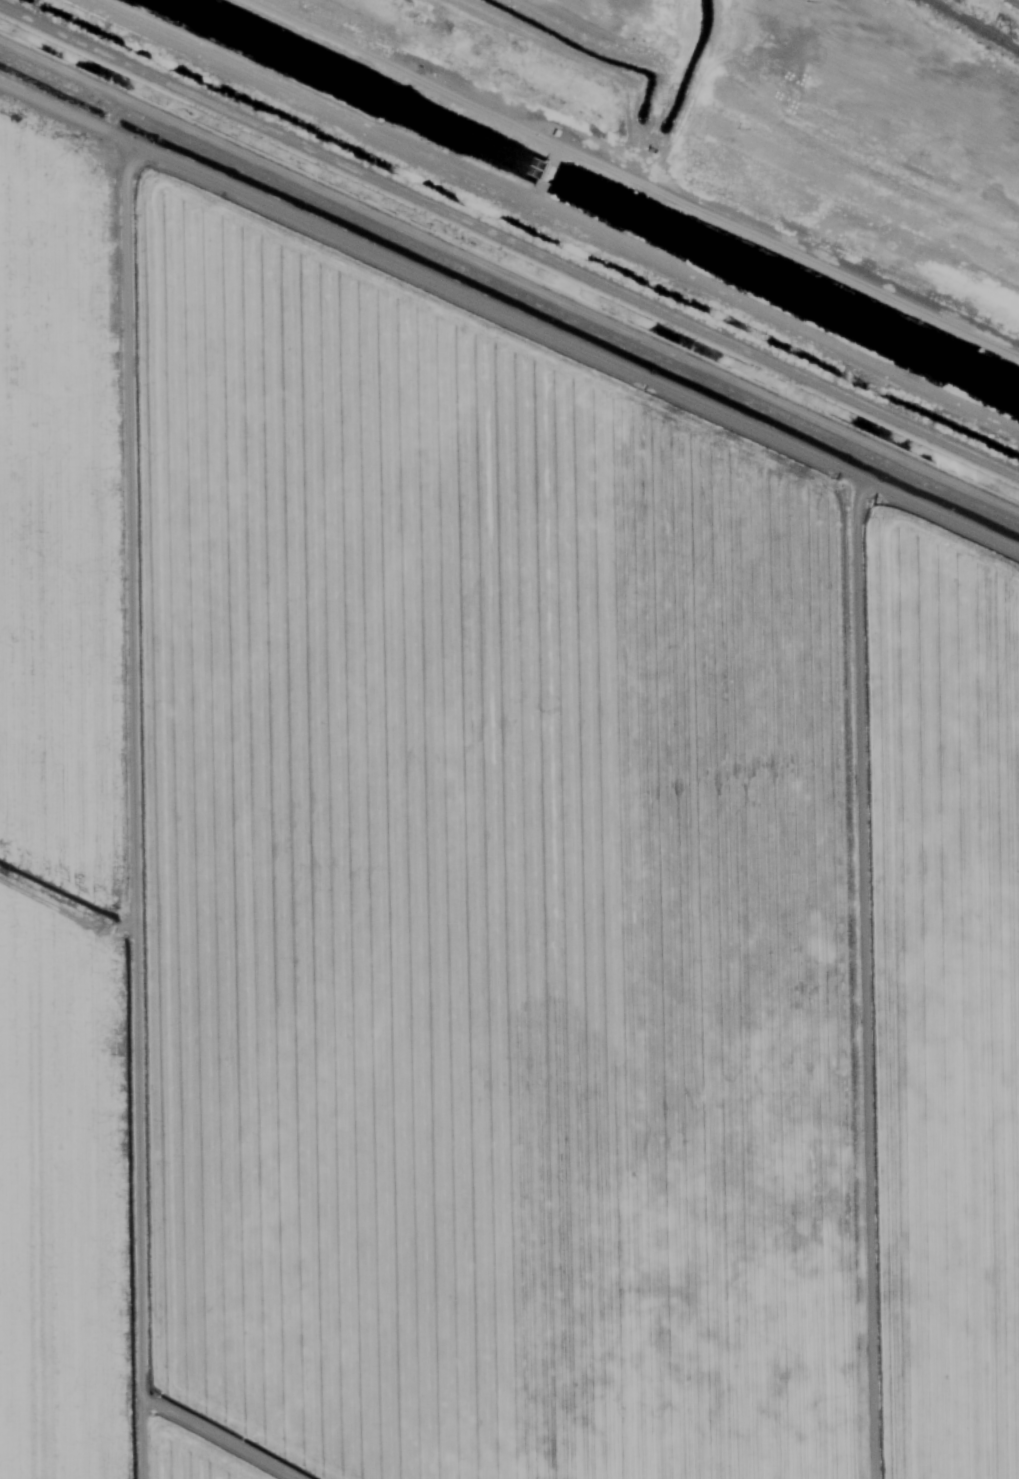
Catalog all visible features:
railway: (972, 26)
road: (70, 61)
road: (706, 142)
road: (579, 295)
road: (139, 787)
crop: (68, 800)
crop: (553, 907)

